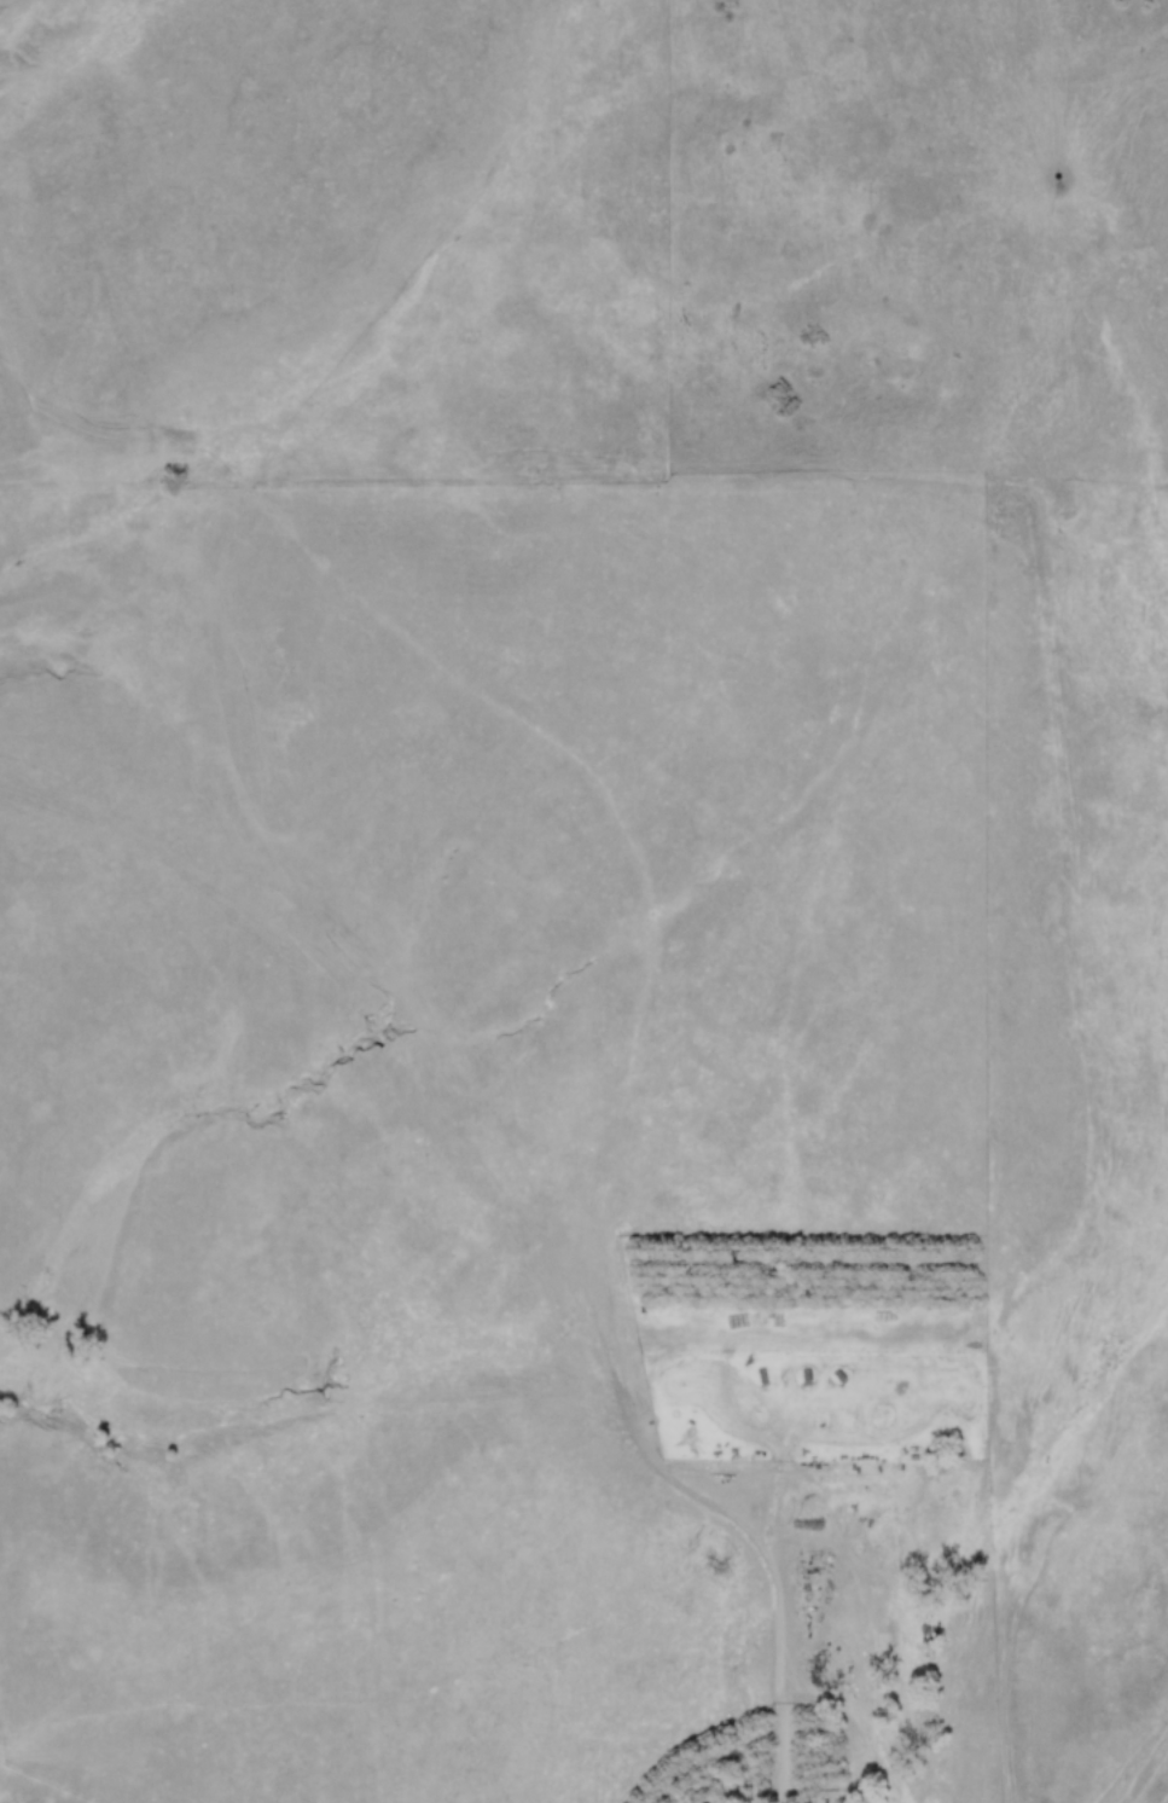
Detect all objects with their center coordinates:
road: (766, 1559)

